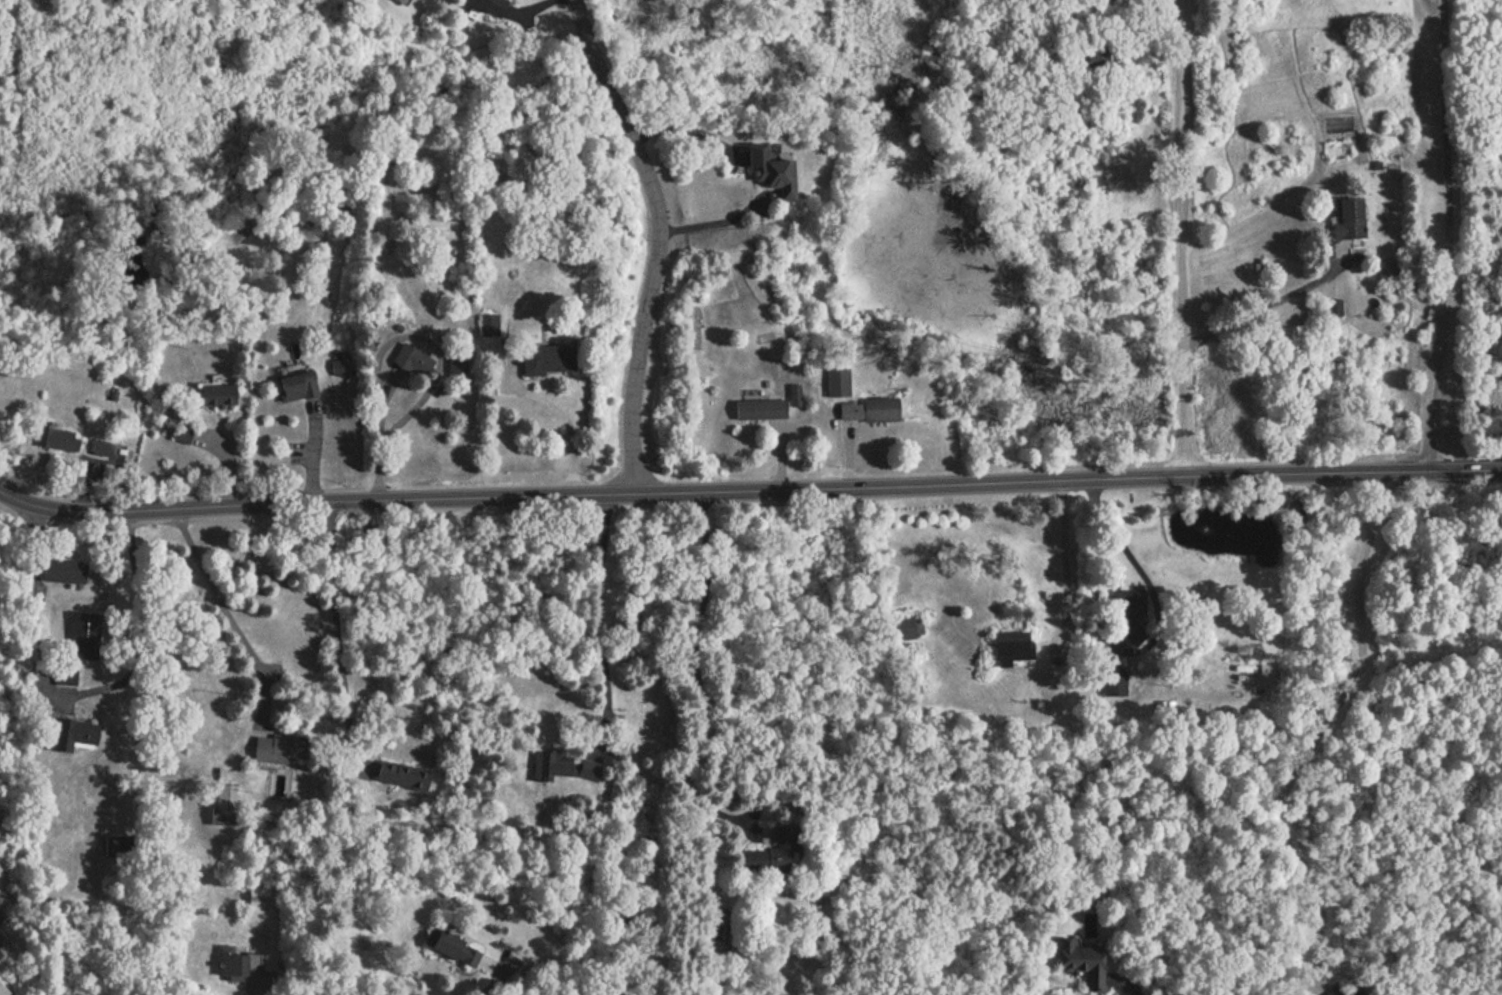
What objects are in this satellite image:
building: (399, 1)
building: (483, 6)
building: (1088, 59)
building: (1344, 218)
road: (712, 225)
road: (1179, 236)
road: (1448, 236)
road: (660, 239)
building: (1332, 307)
road: (1250, 313)
building: (489, 321)
road: (438, 356)
building: (542, 357)
building: (457, 359)
building: (337, 362)
building: (404, 365)
building: (833, 382)
building: (292, 386)
building: (211, 393)
building: (792, 395)
building: (756, 408)
building: (865, 410)
road: (560, 416)
building: (183, 430)
building: (55, 439)
building: (100, 444)
road: (314, 448)
road: (749, 489)
road: (1115, 535)
road: (1064, 556)
building: (63, 567)
road: (223, 606)
road: (36, 609)
road: (601, 622)
road: (143, 630)
building: (83, 632)
road: (337, 633)
building: (1006, 647)
building: (65, 672)
road: (690, 673)
road: (1320, 727)
building: (70, 734)
building: (275, 748)
building: (544, 768)
building: (224, 804)
building: (119, 841)
building: (258, 891)
building: (0, 925)
building: (1081, 955)
building: (231, 966)
road: (262, 988)
building: (2, 991)

